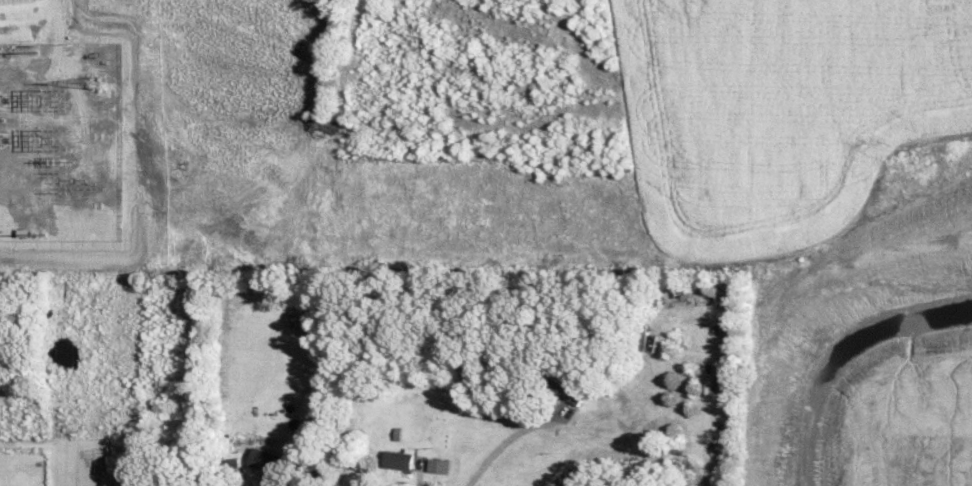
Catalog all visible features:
road: (52, 20)
power tower: (93, 87)
power substation: (59, 141)
road: (585, 435)
building: (266, 460)
road: (360, 465)
building: (437, 465)

